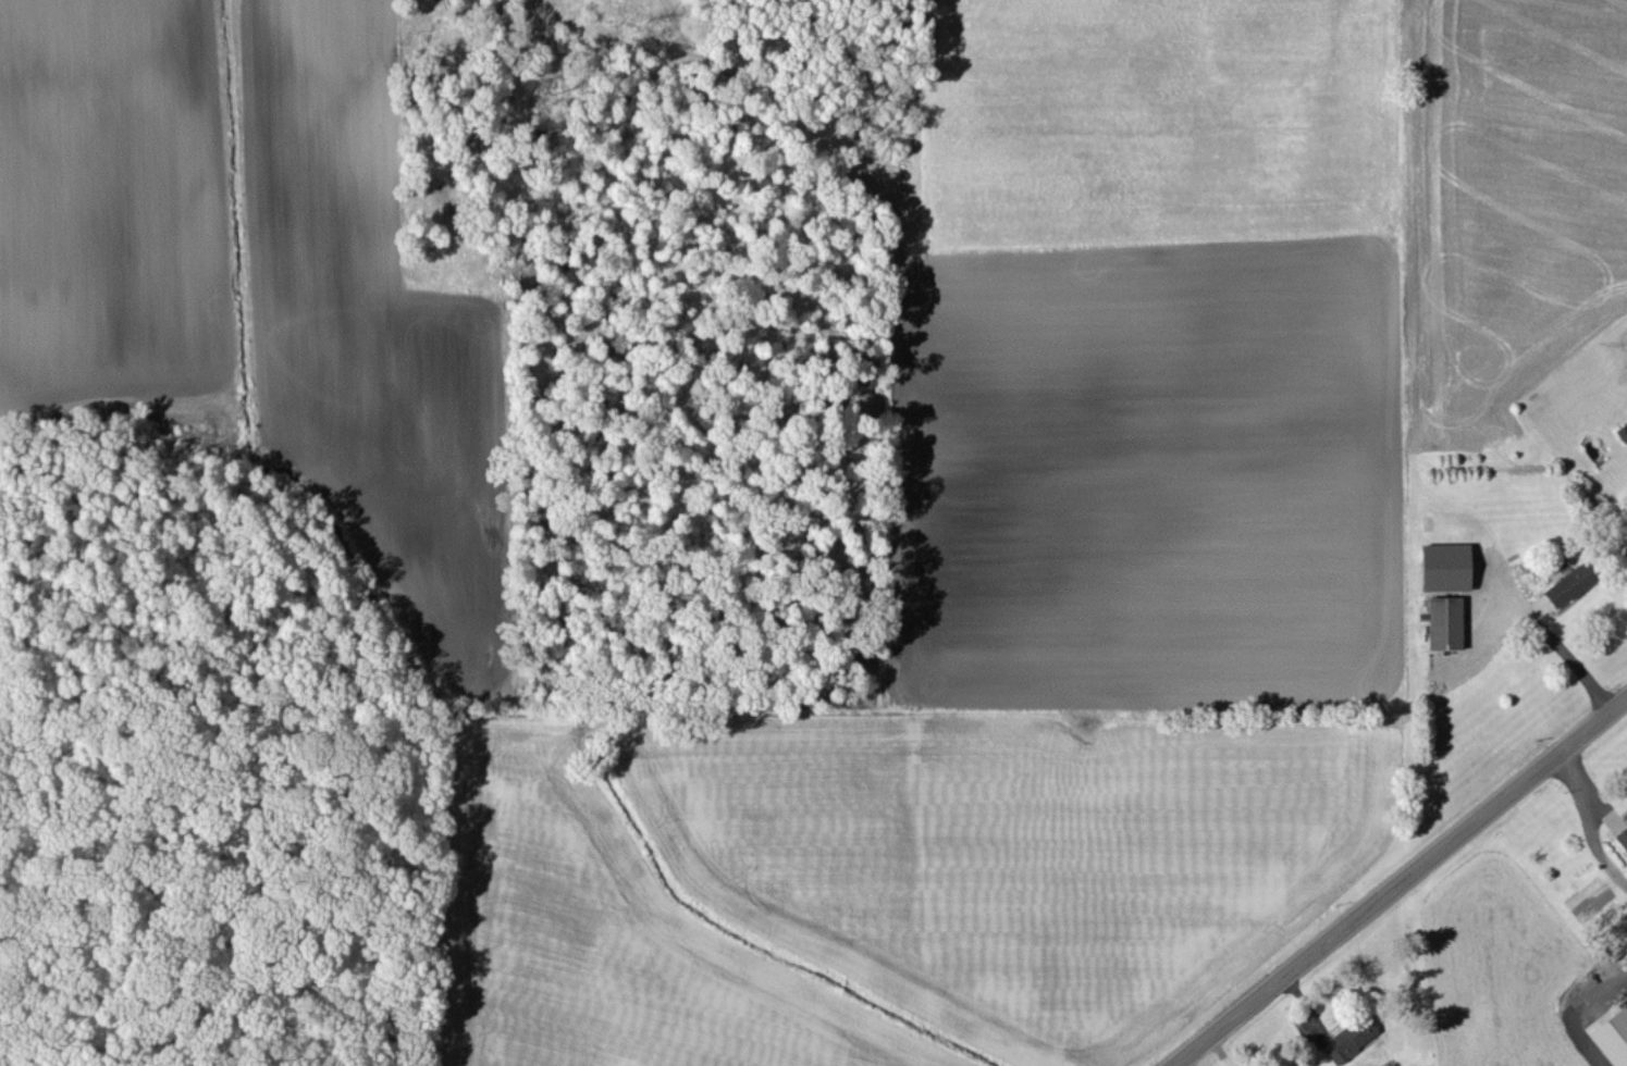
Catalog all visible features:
building: (1449, 568)
building: (1567, 585)
building: (1444, 622)
road: (1560, 657)
road: (1588, 817)
building: (1622, 838)
road: (1395, 877)
building: (1613, 1037)
building: (1351, 1039)

